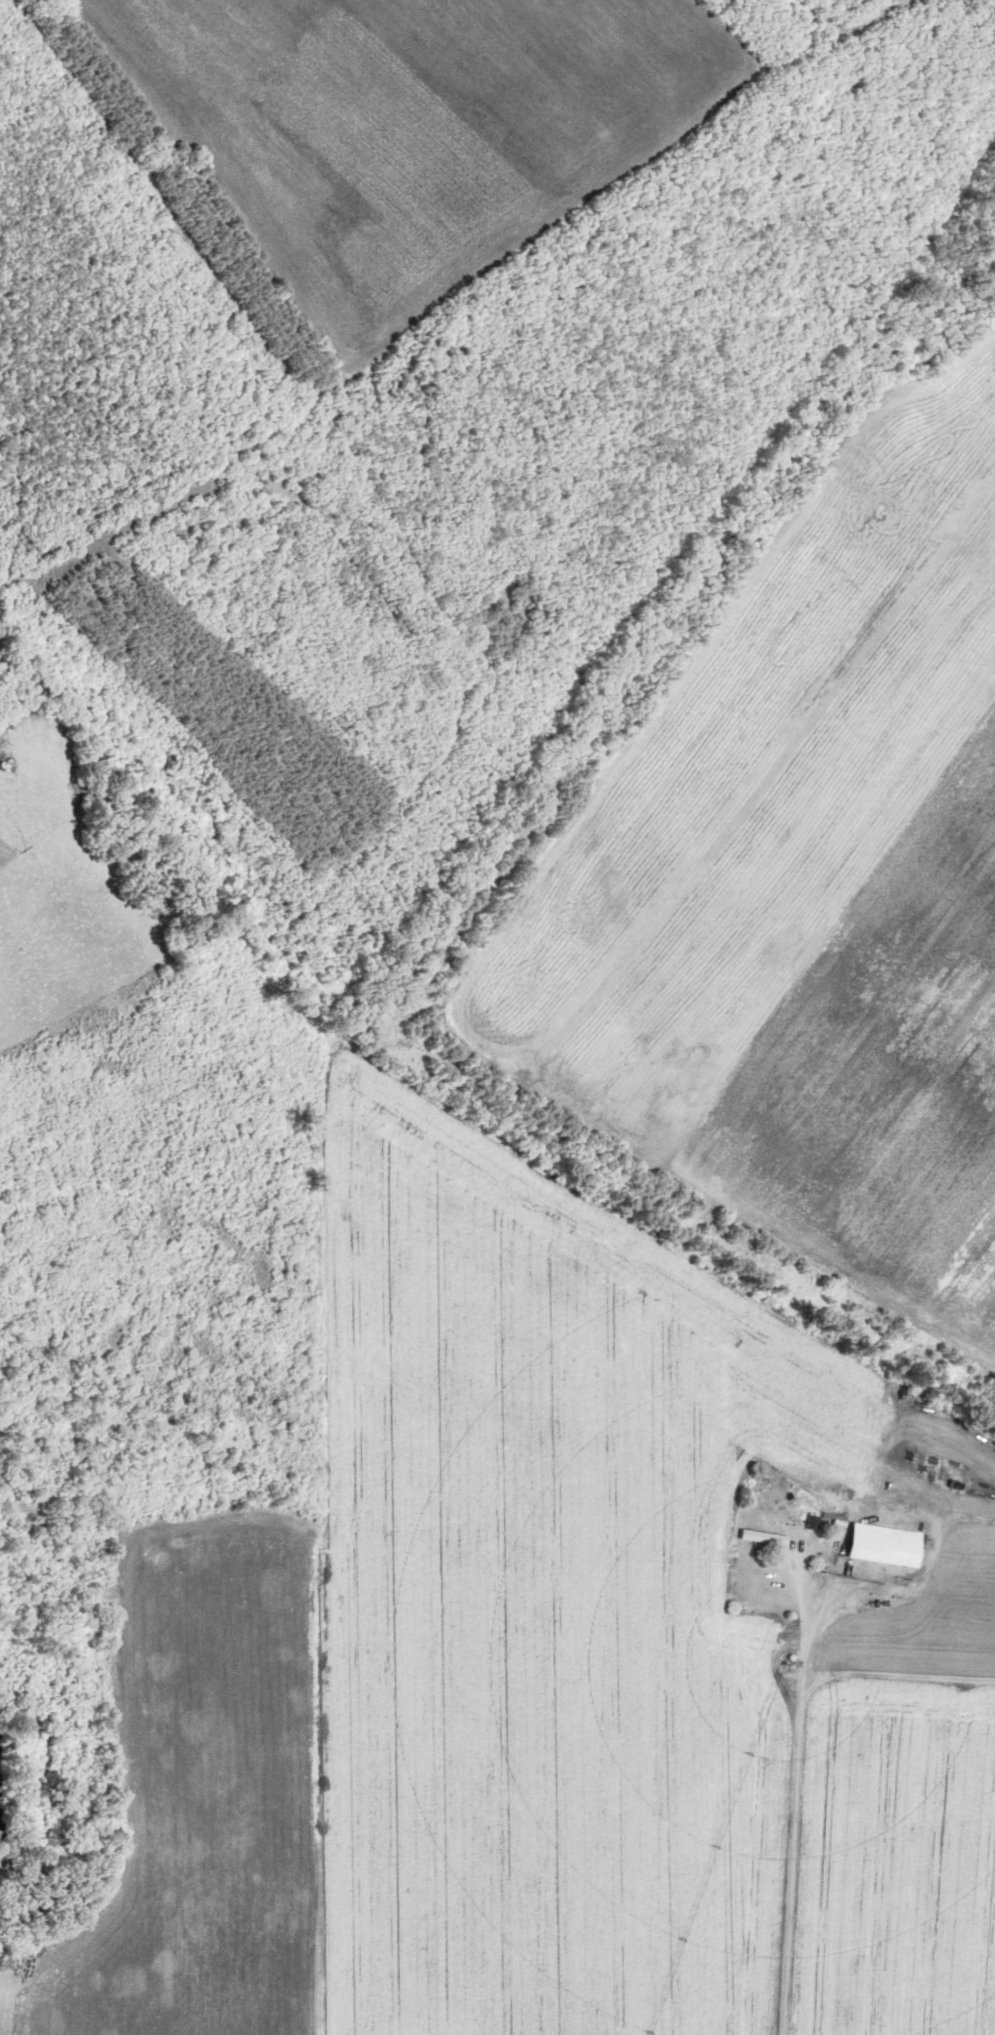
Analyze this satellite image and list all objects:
building: (808, 1524)
road: (973, 1587)
road: (790, 1727)

